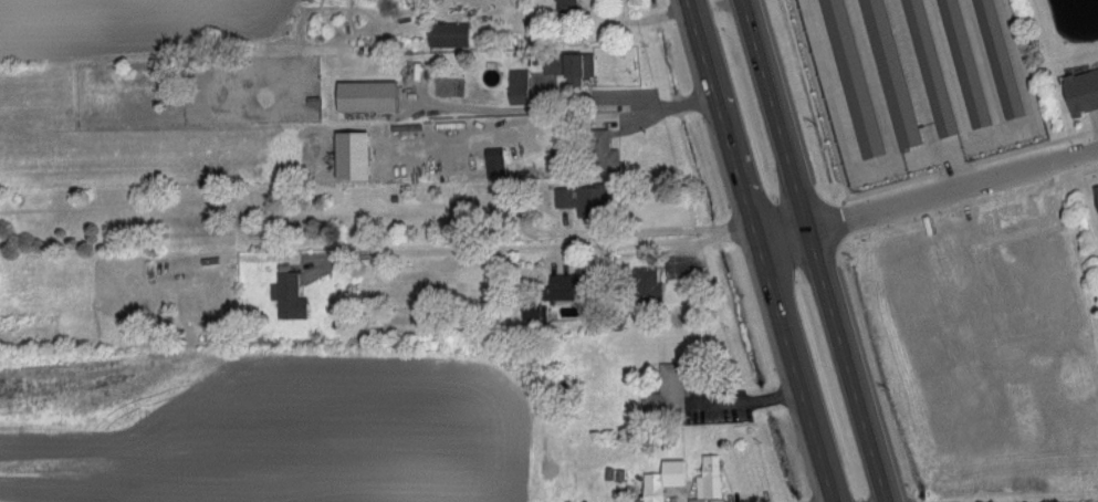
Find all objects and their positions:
building: (564, 6)
building: (446, 33)
building: (996, 57)
building: (961, 63)
building: (568, 65)
building: (928, 66)
building: (887, 73)
building: (850, 77)
building: (516, 85)
building: (1080, 91)
building: (365, 95)
road: (923, 97)
road: (573, 105)
building: (599, 149)
building: (492, 153)
building: (349, 154)
road: (927, 195)
building: (582, 198)
road: (526, 241)
road: (760, 250)
road: (812, 250)
building: (645, 284)
building: (560, 286)
building: (286, 295)
building: (532, 311)
building: (665, 389)
building: (708, 474)
building: (661, 478)

